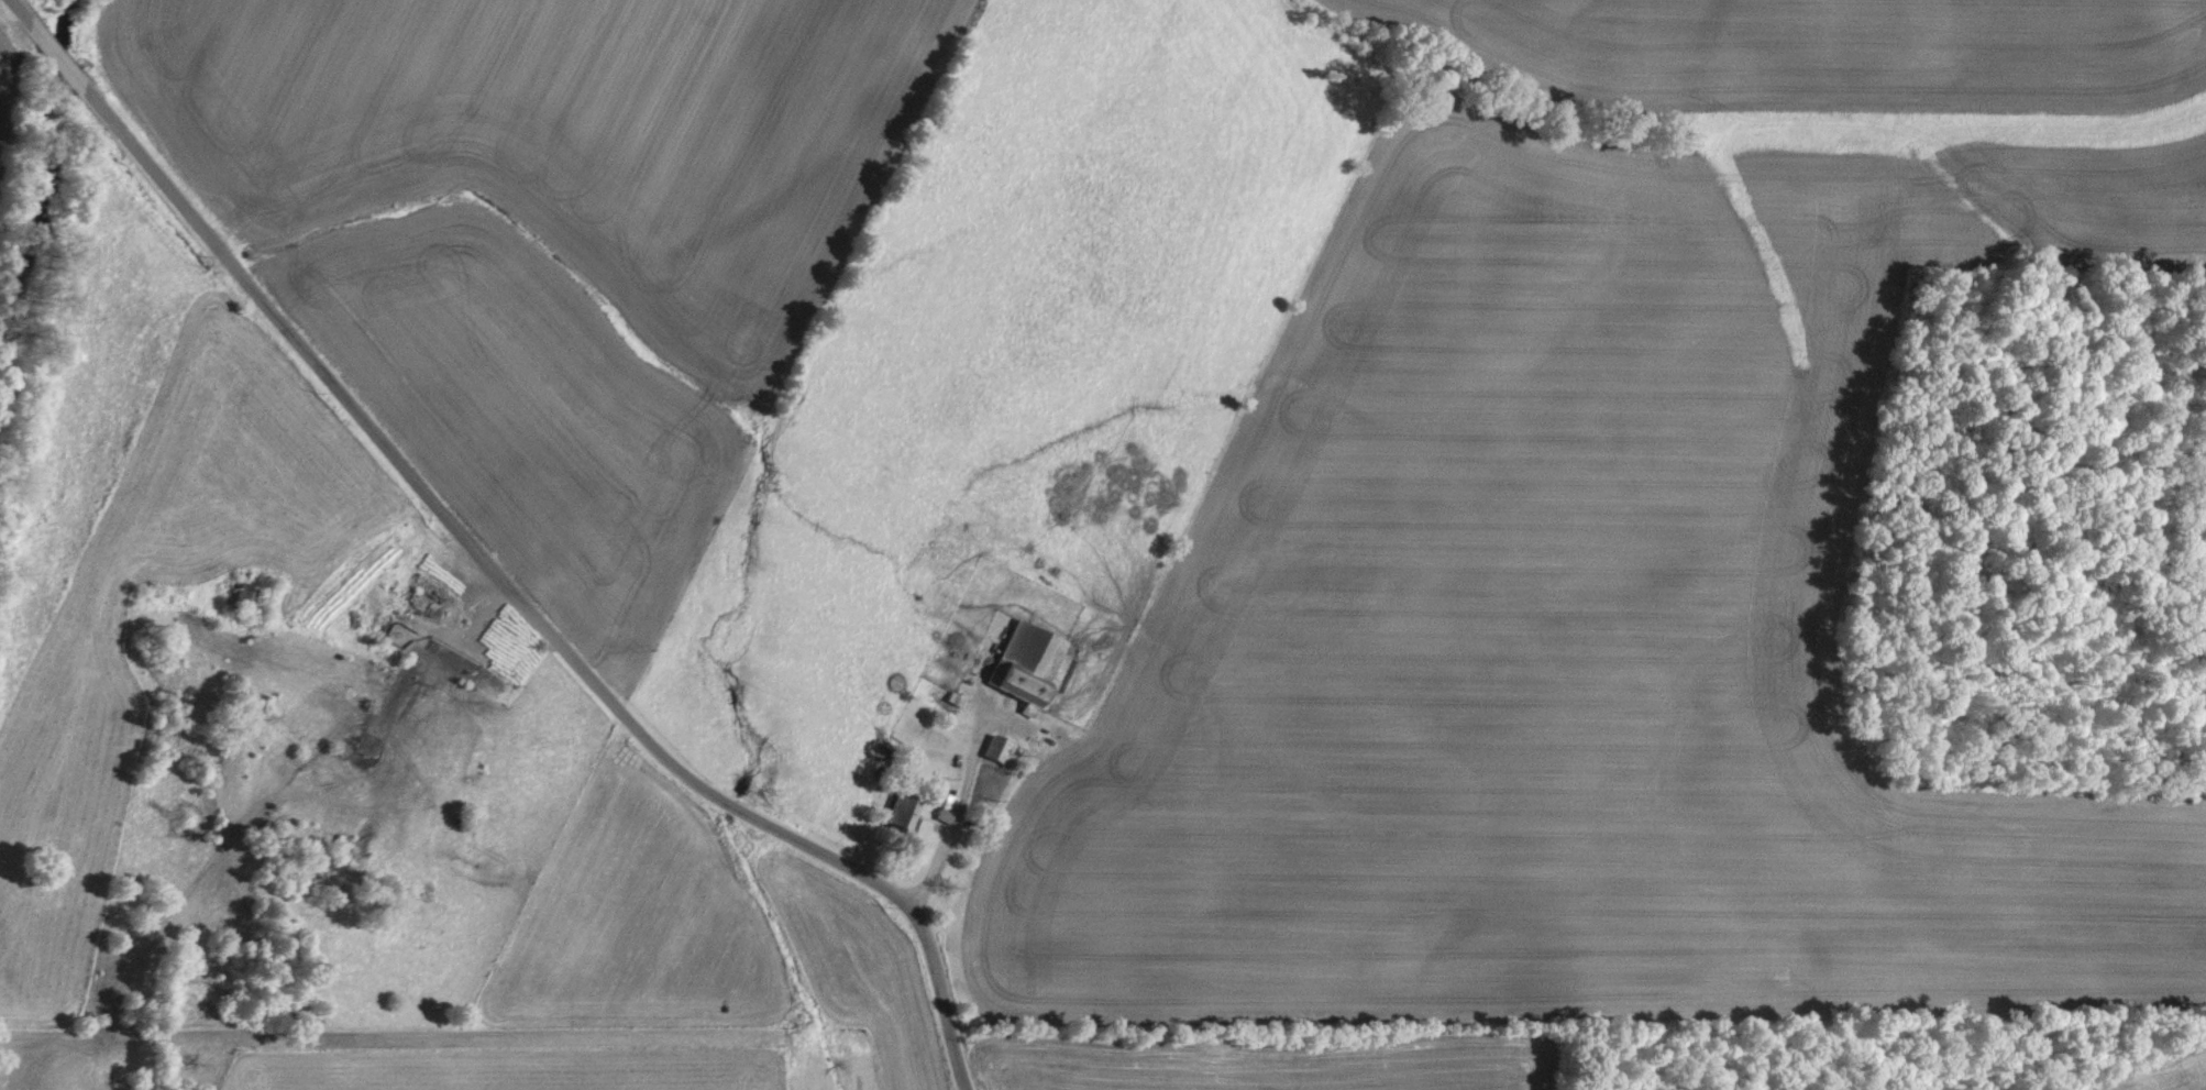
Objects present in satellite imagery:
road: (26, 10)
road: (63, 54)
river: (45, 251)
road: (527, 612)
building: (1030, 665)
building: (1000, 748)
building: (467, 807)
building: (948, 807)
building: (905, 813)
road: (951, 826)

